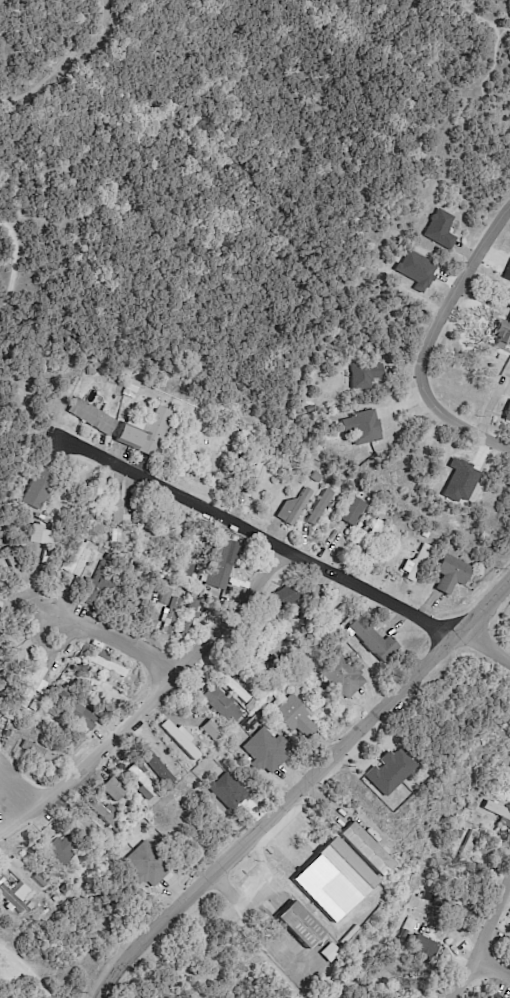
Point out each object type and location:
building: (441, 230)
building: (506, 271)
building: (502, 333)
road: (428, 341)
building: (91, 371)
building: (366, 376)
building: (139, 387)
building: (310, 409)
building: (507, 416)
building: (92, 417)
building: (366, 428)
building: (147, 434)
building: (220, 434)
building: (255, 478)
building: (315, 478)
building: (334, 487)
building: (39, 490)
building: (92, 498)
building: (321, 508)
building: (294, 509)
building: (353, 512)
building: (116, 525)
building: (96, 528)
road: (250, 530)
building: (1, 534)
building: (157, 534)
building: (425, 535)
building: (41, 537)
building: (367, 545)
building: (141, 558)
building: (75, 559)
building: (222, 564)
building: (418, 564)
building: (16, 566)
building: (186, 569)
building: (451, 575)
building: (98, 584)
building: (313, 592)
building: (165, 597)
building: (285, 597)
road: (489, 605)
building: (170, 616)
building: (332, 619)
building: (188, 621)
road: (99, 626)
building: (508, 636)
road: (489, 641)
building: (374, 643)
building: (266, 645)
building: (83, 652)
building: (251, 661)
building: (108, 665)
building: (8, 671)
building: (342, 678)
building: (233, 688)
building: (33, 689)
building: (60, 695)
road: (149, 698)
building: (34, 706)
building: (220, 706)
building: (251, 707)
building: (11, 717)
building: (80, 719)
building: (295, 719)
building: (0, 728)
building: (212, 730)
building: (181, 740)
building: (265, 753)
building: (41, 756)
building: (159, 763)
building: (389, 770)
building: (142, 783)
building: (113, 791)
road: (13, 793)
building: (472, 805)
road: (281, 809)
building: (498, 812)
building: (106, 817)
building: (80, 827)
building: (367, 850)
building: (467, 850)
building: (61, 852)
building: (149, 866)
building: (348, 867)
building: (40, 881)
building: (15, 888)
building: (54, 899)
road: (238, 900)
building: (443, 903)
building: (30, 907)
building: (300, 925)
building: (403, 935)
building: (410, 939)
building: (508, 943)
building: (426, 947)
road: (485, 948)
road: (495, 970)
building: (409, 991)
building: (494, 995)

